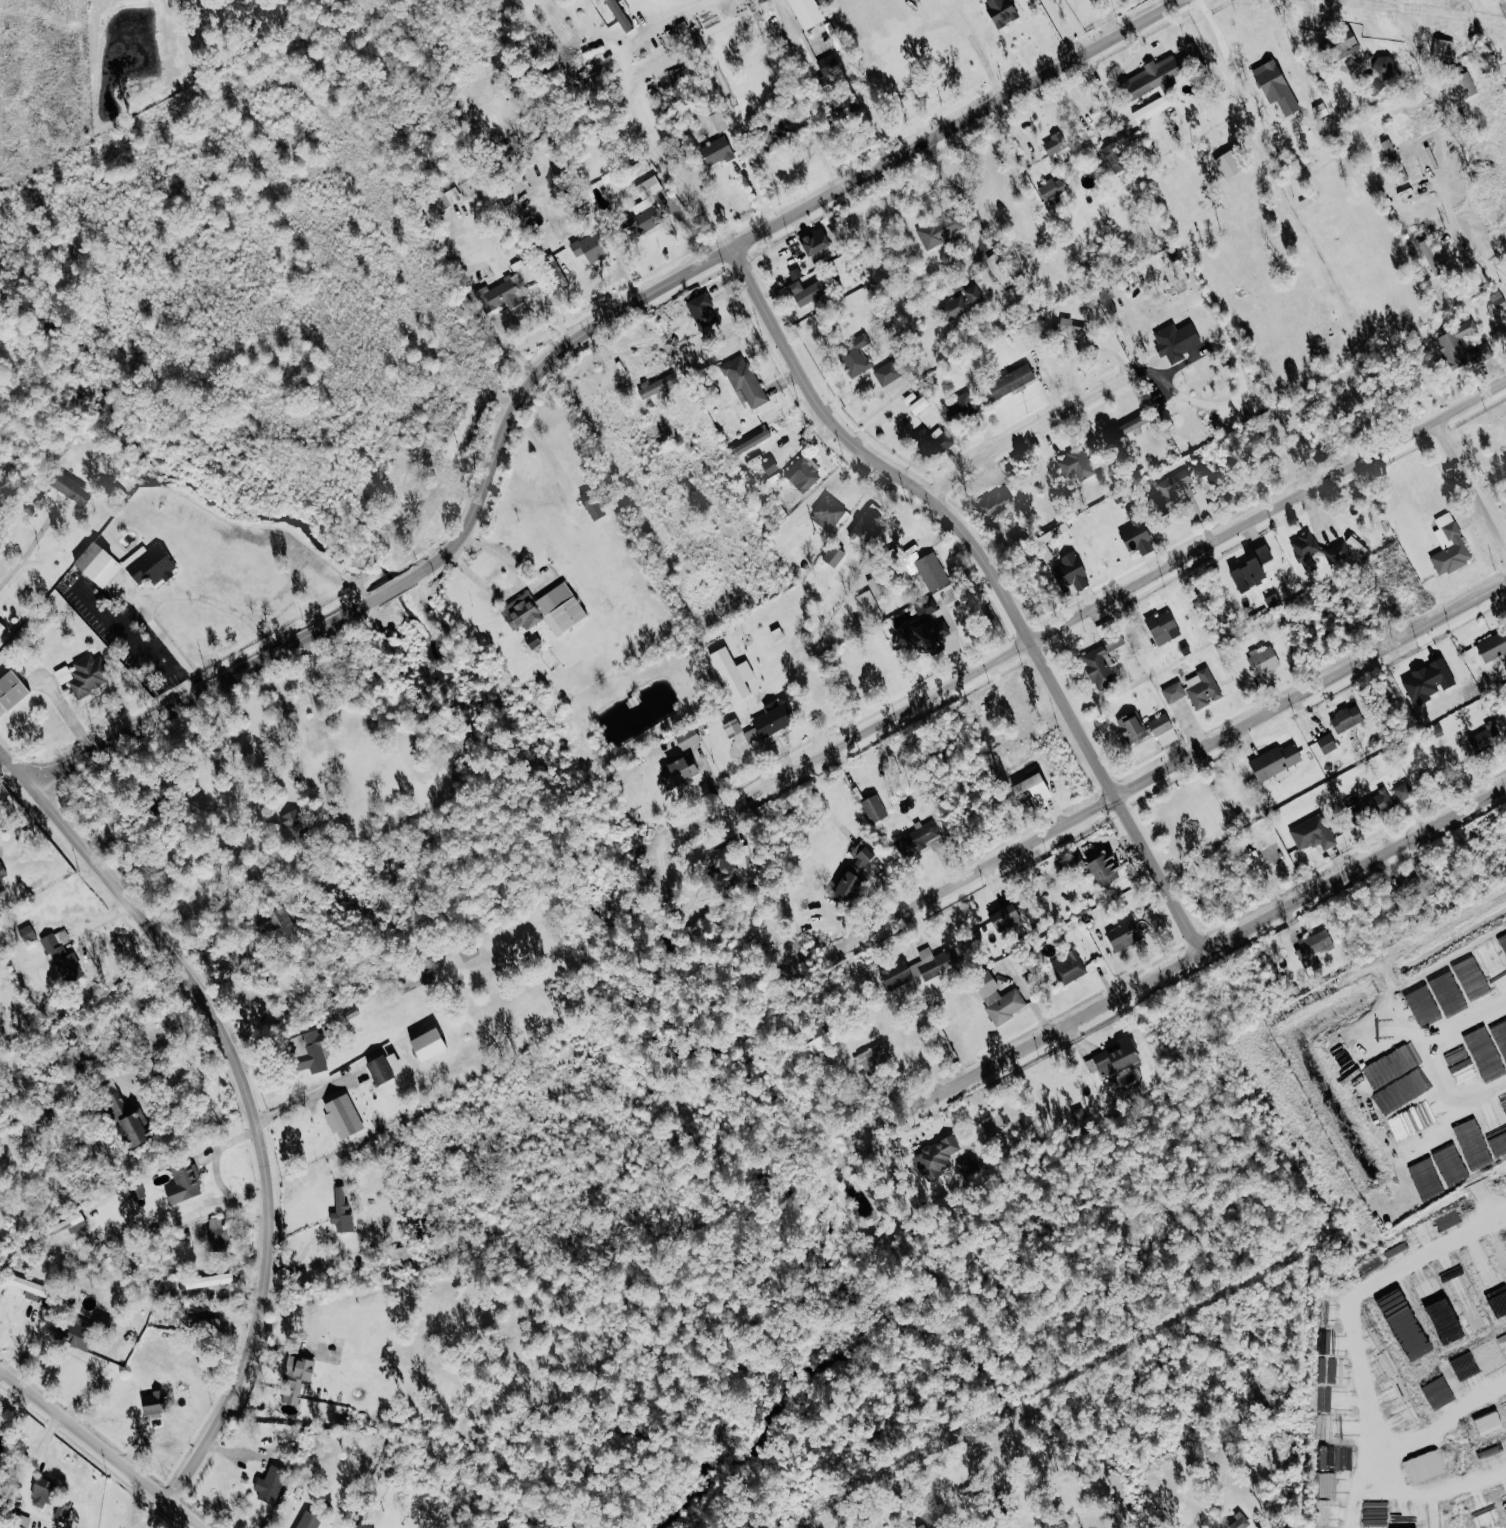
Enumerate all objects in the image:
road: (1176, 2)
building: (1001, 12)
building: (806, 13)
building: (619, 15)
road: (1077, 24)
building: (1341, 44)
road: (1302, 45)
building: (1442, 48)
road: (981, 58)
building: (830, 70)
building: (1386, 73)
building: (1152, 78)
building: (1276, 86)
building: (1464, 86)
road: (815, 90)
road: (1239, 93)
building: (1153, 108)
building: (1320, 110)
road: (632, 115)
building: (719, 123)
building: (717, 151)
building: (1115, 157)
building: (1394, 161)
building: (1228, 165)
building: (648, 187)
building: (1053, 191)
building: (444, 200)
building: (643, 217)
building: (939, 230)
road: (1463, 237)
building: (815, 243)
building: (590, 247)
building: (1431, 257)
building: (1001, 270)
building: (810, 293)
building: (499, 295)
building: (973, 296)
building: (1498, 301)
road: (476, 304)
building: (955, 308)
building: (700, 311)
building: (1072, 330)
building: (1176, 340)
building: (1022, 341)
building: (1461, 347)
road: (563, 349)
building: (855, 354)
building: (889, 375)
building: (744, 379)
building: (1012, 380)
building: (657, 385)
building: (919, 405)
building: (958, 407)
building: (1126, 427)
road: (1030, 430)
building: (932, 441)
road: (1465, 461)
building: (1075, 463)
building: (769, 465)
building: (803, 473)
building: (70, 487)
building: (1171, 490)
building: (592, 503)
building: (994, 504)
building: (827, 515)
building: (867, 525)
building: (1135, 527)
building: (1449, 545)
building: (1306, 551)
road: (26, 554)
building: (1338, 554)
building: (834, 555)
building: (126, 564)
building: (1253, 569)
building: (931, 571)
building: (1071, 571)
road: (997, 574)
road: (518, 589)
road: (165, 595)
road: (1096, 602)
building: (868, 605)
building: (545, 610)
building: (1163, 626)
building: (924, 627)
building: (1493, 647)
building: (1264, 661)
building: (1099, 667)
building: (733, 673)
building: (82, 675)
building: (1428, 681)
building: (1202, 688)
building: (12, 690)
building: (1173, 692)
building: (773, 717)
building: (1346, 718)
building: (732, 727)
building: (1132, 728)
building: (1163, 729)
building: (751, 736)
building: (688, 737)
building: (1483, 739)
building: (1327, 743)
road: (1176, 761)
building: (1275, 761)
building: (679, 771)
building: (1035, 789)
building: (1379, 801)
building: (874, 808)
building: (1312, 833)
building: (919, 839)
building: (723, 868)
building: (1105, 869)
building: (855, 872)
building: (1006, 917)
building: (280, 925)
building: (1125, 934)
road: (1206, 947)
building: (1314, 947)
building: (62, 959)
building: (1068, 967)
building: (920, 968)
building: (1446, 992)
building: (998, 998)
road: (1424, 1009)
building: (1500, 1038)
building: (824, 1040)
building: (1375, 1042)
building: (309, 1051)
building: (1485, 1055)
building: (1403, 1057)
building: (873, 1058)
building: (1114, 1058)
building: (1461, 1067)
building: (384, 1068)
road: (169, 1069)
building: (1400, 1091)
road: (253, 1093)
road: (308, 1096)
road: (1492, 1116)
building: (342, 1117)
building: (1413, 1119)
building: (126, 1120)
road: (1492, 1156)
building: (936, 1157)
building: (180, 1184)
building: (341, 1212)
building: (216, 1234)
road: (1467, 1245)
building: (205, 1281)
building: (29, 1286)
building: (1441, 1313)
building: (100, 1320)
building: (203, 1322)
building: (75, 1335)
building: (295, 1378)
building: (1445, 1390)
building: (153, 1403)
building: (1488, 1423)
road: (105, 1445)
road: (39, 1450)
building: (1425, 1466)
building: (269, 1484)
building: (48, 1497)
road: (895, 1497)
building: (1402, 1518)
building: (21, 1521)
building: (312, 1521)
building: (1238, 1523)
building: (361, 1526)

